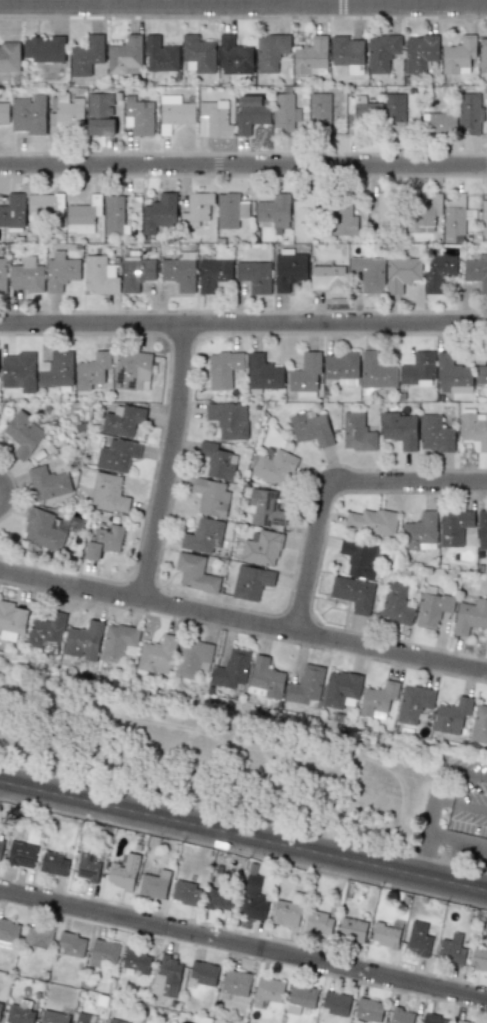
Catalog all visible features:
road: (243, 17)
building: (43, 49)
building: (270, 51)
building: (381, 52)
building: (419, 52)
building: (198, 53)
building: (347, 53)
building: (483, 54)
building: (86, 55)
building: (124, 55)
building: (160, 55)
building: (459, 55)
building: (234, 56)
building: (9, 57)
building: (311, 57)
building: (394, 107)
building: (319, 110)
building: (4, 111)
building: (174, 112)
building: (65, 113)
building: (251, 113)
building: (285, 113)
building: (366, 113)
building: (471, 113)
building: (28, 114)
building: (100, 114)
building: (138, 115)
building: (213, 119)
building: (439, 123)
road: (243, 153)
road: (243, 165)
building: (44, 207)
building: (196, 209)
building: (13, 210)
building: (230, 210)
building: (385, 210)
building: (274, 212)
building: (113, 213)
building: (159, 213)
building: (302, 214)
building: (422, 215)
building: (484, 217)
building: (79, 218)
building: (342, 221)
building: (289, 270)
building: (60, 271)
building: (438, 271)
building: (476, 272)
building: (136, 273)
building: (179, 273)
building: (368, 273)
building: (401, 273)
building: (212, 274)
building: (2, 275)
building: (27, 275)
building: (99, 275)
building: (254, 276)
building: (328, 279)
road: (243, 323)
building: (224, 368)
building: (342, 368)
building: (56, 370)
building: (132, 370)
building: (418, 370)
building: (18, 371)
building: (91, 371)
building: (376, 372)
building: (263, 373)
building: (305, 375)
building: (452, 375)
building: (481, 375)
building: (121, 419)
building: (228, 419)
building: (474, 424)
building: (311, 428)
building: (400, 429)
building: (357, 432)
building: (22, 434)
building: (435, 434)
building: (116, 455)
building: (217, 461)
road: (170, 463)
building: (275, 468)
building: (48, 482)
road: (329, 482)
building: (107, 493)
building: (211, 496)
building: (265, 508)
building: (372, 521)
building: (454, 527)
building: (42, 530)
building: (482, 530)
building: (420, 532)
building: (202, 535)
building: (103, 541)
building: (261, 548)
building: (359, 558)
building: (195, 573)
building: (250, 582)
building: (353, 593)
building: (395, 604)
building: (432, 607)
building: (470, 616)
building: (12, 620)
road: (243, 623)
building: (45, 629)
building: (83, 641)
building: (118, 643)
building: (157, 655)
building: (193, 658)
building: (231, 669)
building: (265, 678)
building: (306, 686)
building: (340, 690)
building: (378, 700)
building: (413, 703)
building: (451, 716)
building: (479, 723)
road: (467, 773)
road: (438, 802)
road: (463, 803)
road: (243, 835)
road: (458, 842)
building: (0, 844)
building: (21, 854)
road: (424, 855)
building: (53, 864)
building: (87, 865)
building: (123, 872)
building: (154, 884)
building: (186, 893)
building: (218, 893)
building: (251, 903)
building: (287, 911)
building: (318, 923)
building: (8, 929)
building: (351, 929)
building: (386, 935)
building: (37, 937)
building: (418, 938)
building: (71, 944)
road: (243, 944)
building: (451, 950)
building: (103, 953)
building: (478, 958)
building: (135, 960)
building: (203, 973)
building: (167, 977)
building: (235, 983)
building: (267, 990)
building: (300, 998)
building: (335, 1003)
building: (0, 1004)
building: (368, 1010)
building: (19, 1015)
building: (401, 1016)
building: (53, 1017)
building: (434, 1019)
building: (116, 1021)
building: (461, 1021)
building: (76, 1022)

